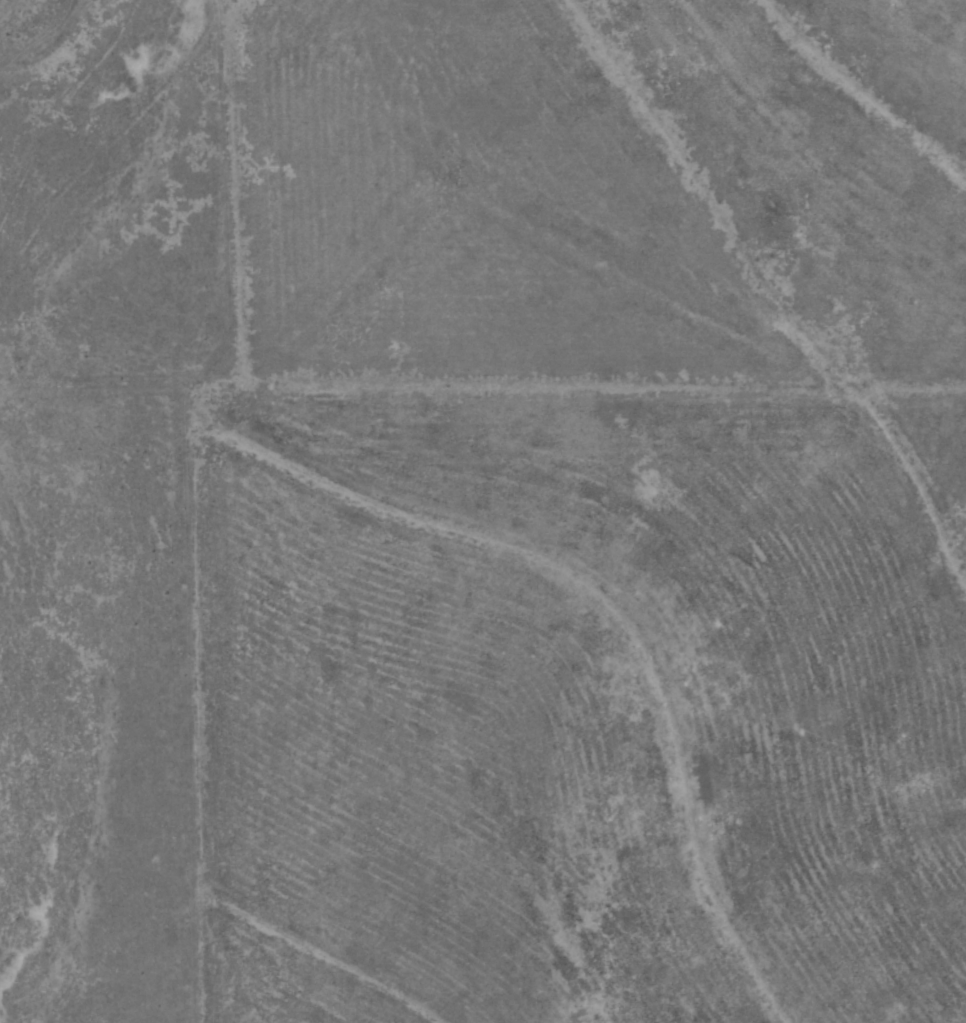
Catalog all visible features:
road: (69, 175)

